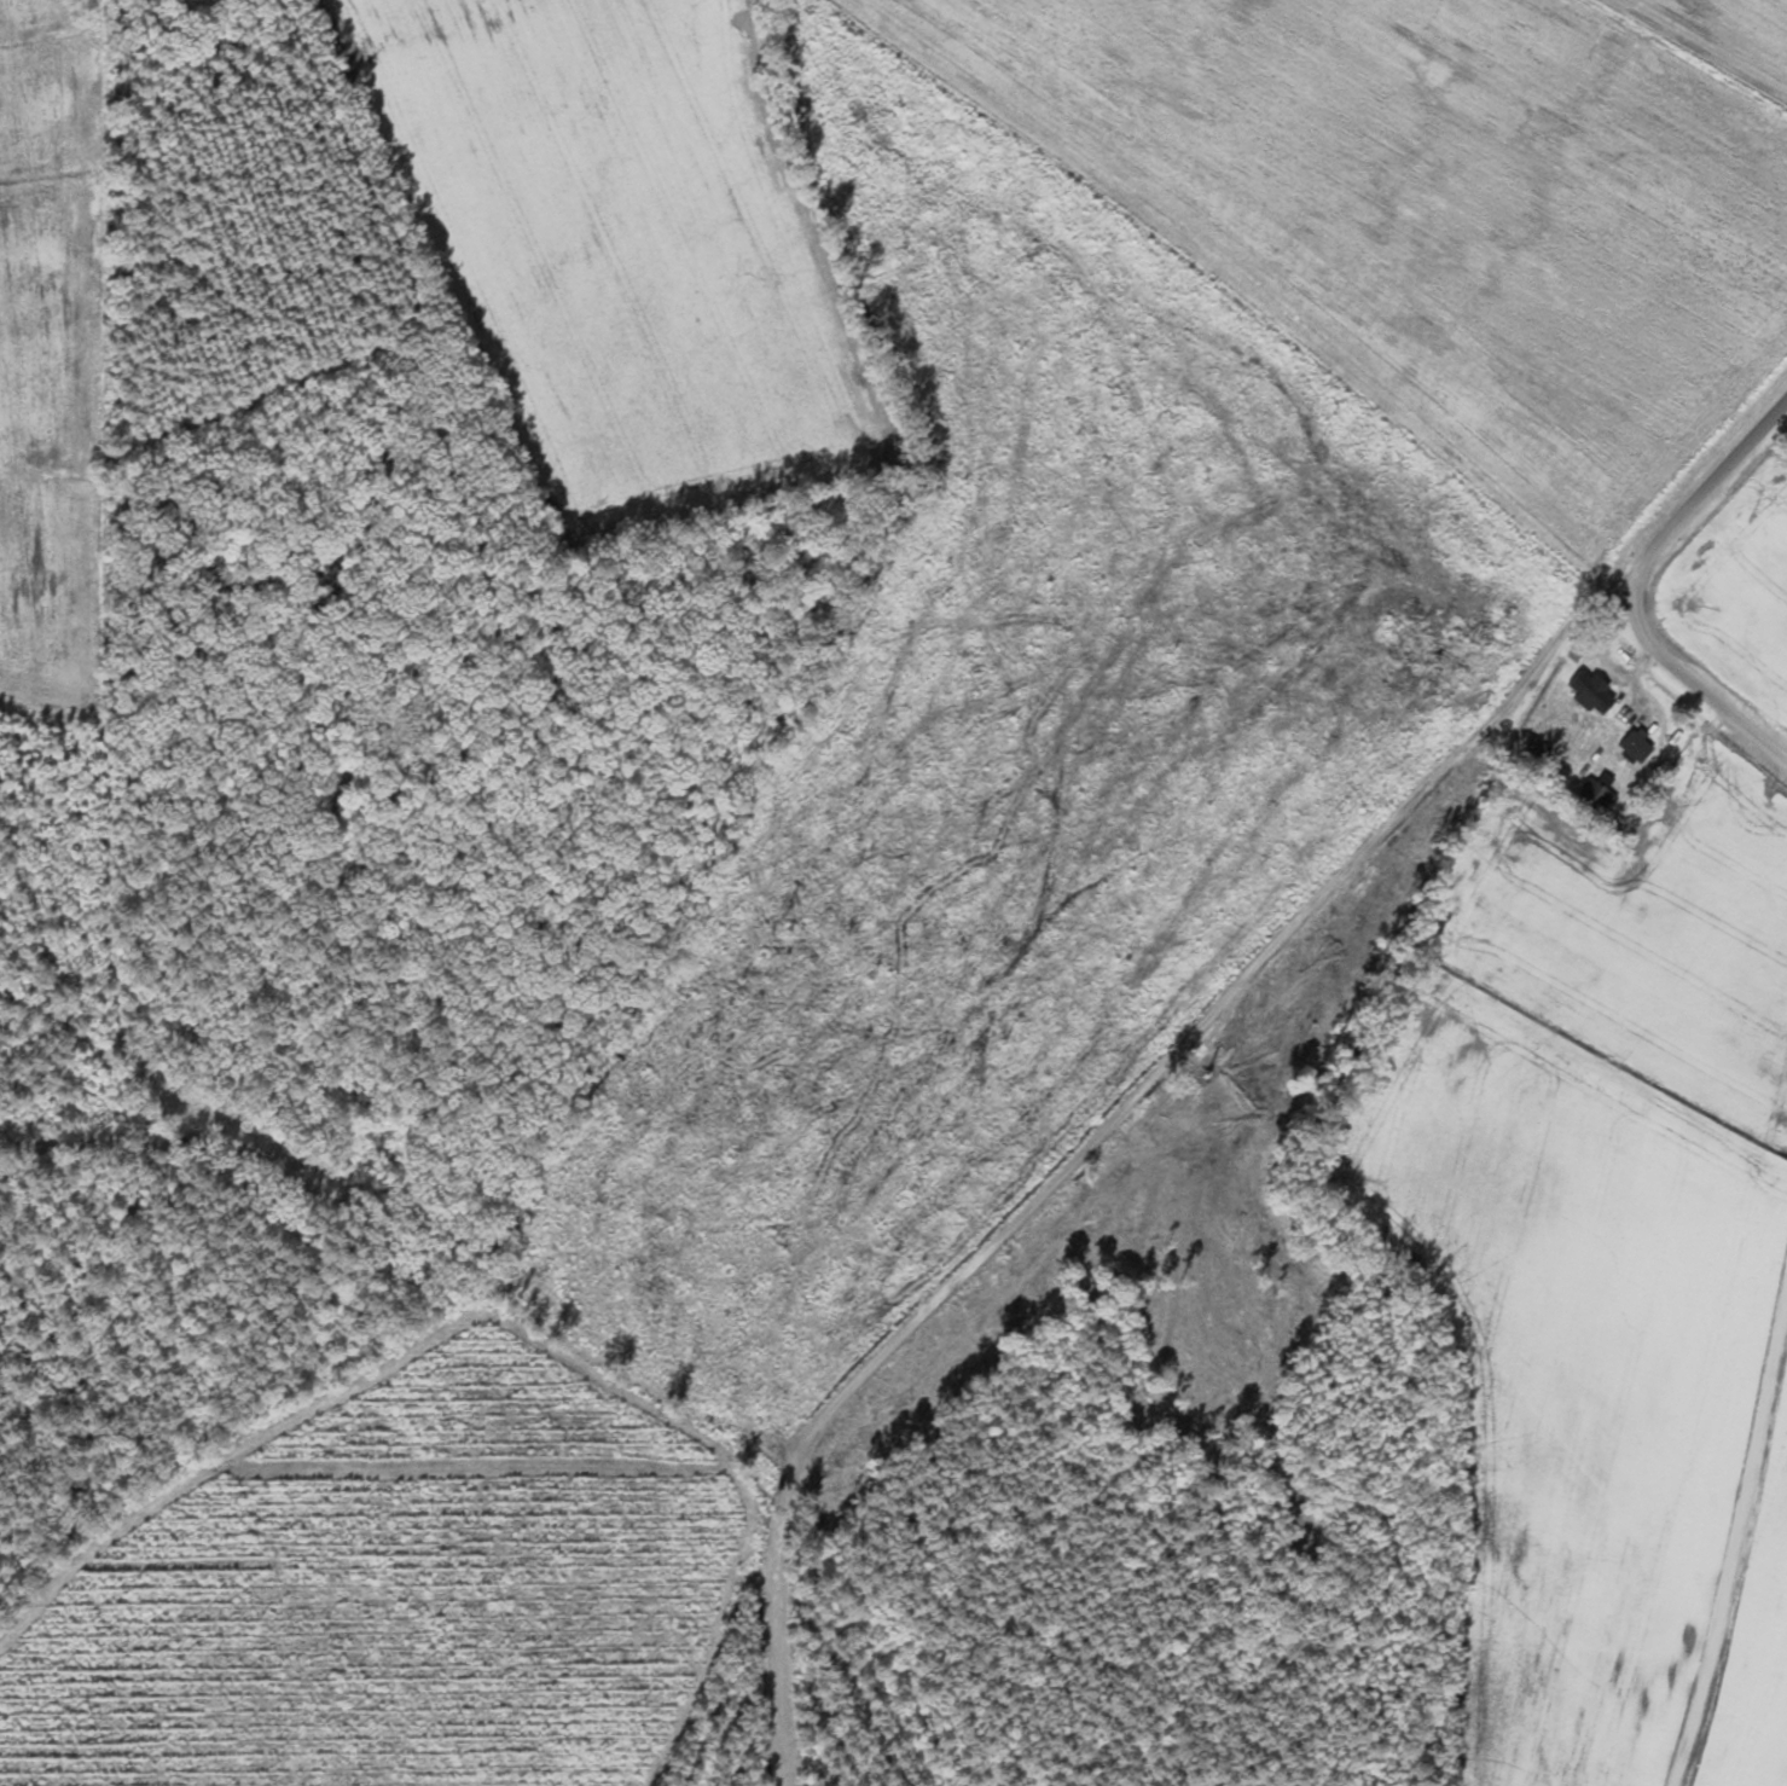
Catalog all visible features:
road: (1635, 587)
building: (1583, 689)
building: (1634, 746)
building: (1594, 793)

